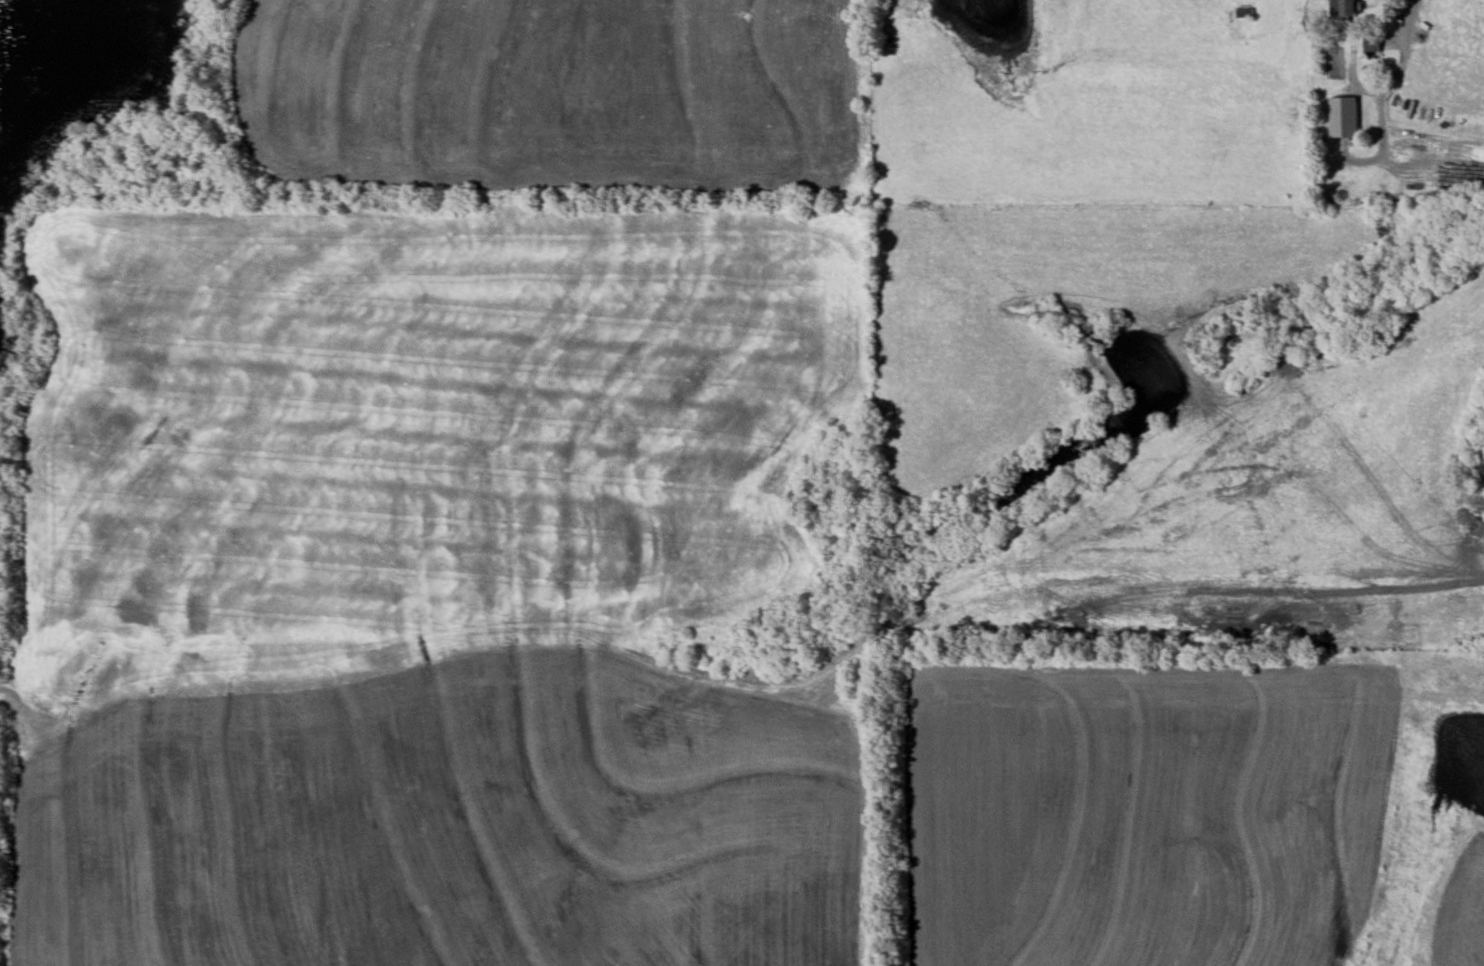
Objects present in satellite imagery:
building: (1343, 9)
building: (1244, 13)
road: (1411, 16)
building: (1371, 44)
building: (1342, 118)

